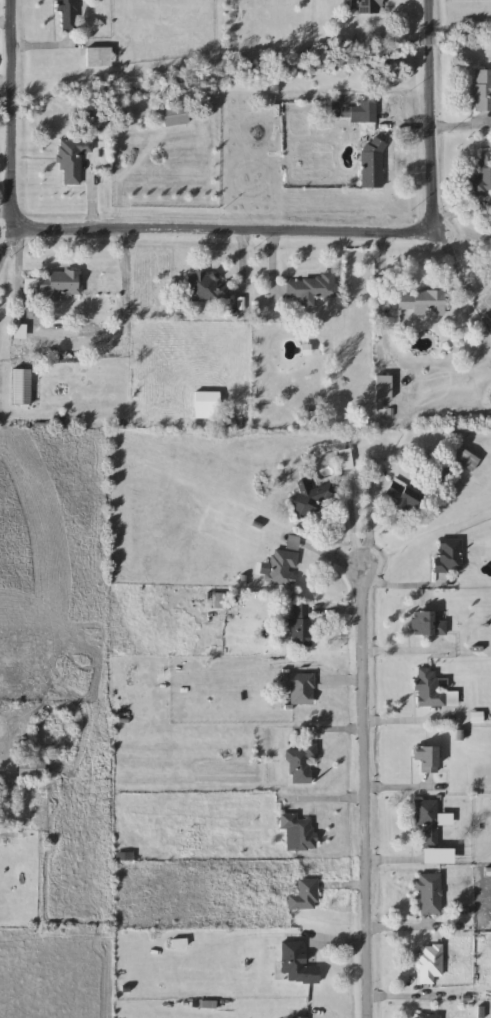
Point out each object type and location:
building: (368, 7)
building: (68, 15)
road: (5, 25)
building: (99, 57)
road: (5, 82)
building: (482, 90)
building: (353, 112)
road: (10, 116)
building: (174, 116)
road: (430, 130)
building: (72, 159)
building: (372, 163)
building: (483, 175)
road: (117, 179)
road: (4, 212)
road: (330, 234)
road: (4, 248)
road: (457, 267)
road: (274, 269)
road: (241, 270)
road: (383, 277)
building: (61, 284)
building: (209, 286)
building: (312, 287)
building: (422, 302)
building: (19, 332)
road: (72, 341)
building: (22, 387)
building: (383, 388)
building: (207, 405)
building: (346, 459)
building: (466, 460)
building: (401, 495)
building: (311, 498)
road: (352, 521)
road: (369, 526)
building: (449, 555)
road: (322, 556)
building: (282, 568)
road: (405, 589)
road: (338, 610)
building: (428, 623)
building: (301, 625)
road: (402, 655)
road: (342, 682)
building: (301, 688)
building: (428, 688)
road: (403, 725)
road: (331, 733)
road: (10, 751)
building: (426, 758)
building: (301, 763)
building: (31, 769)
road: (363, 791)
road: (397, 791)
road: (320, 803)
building: (427, 820)
building: (300, 831)
road: (398, 861)
road: (344, 887)
building: (431, 895)
building: (305, 896)
road: (404, 929)
road: (337, 949)
building: (431, 963)
building: (298, 965)
road: (429, 997)
building: (426, 1016)
building: (296, 1017)

